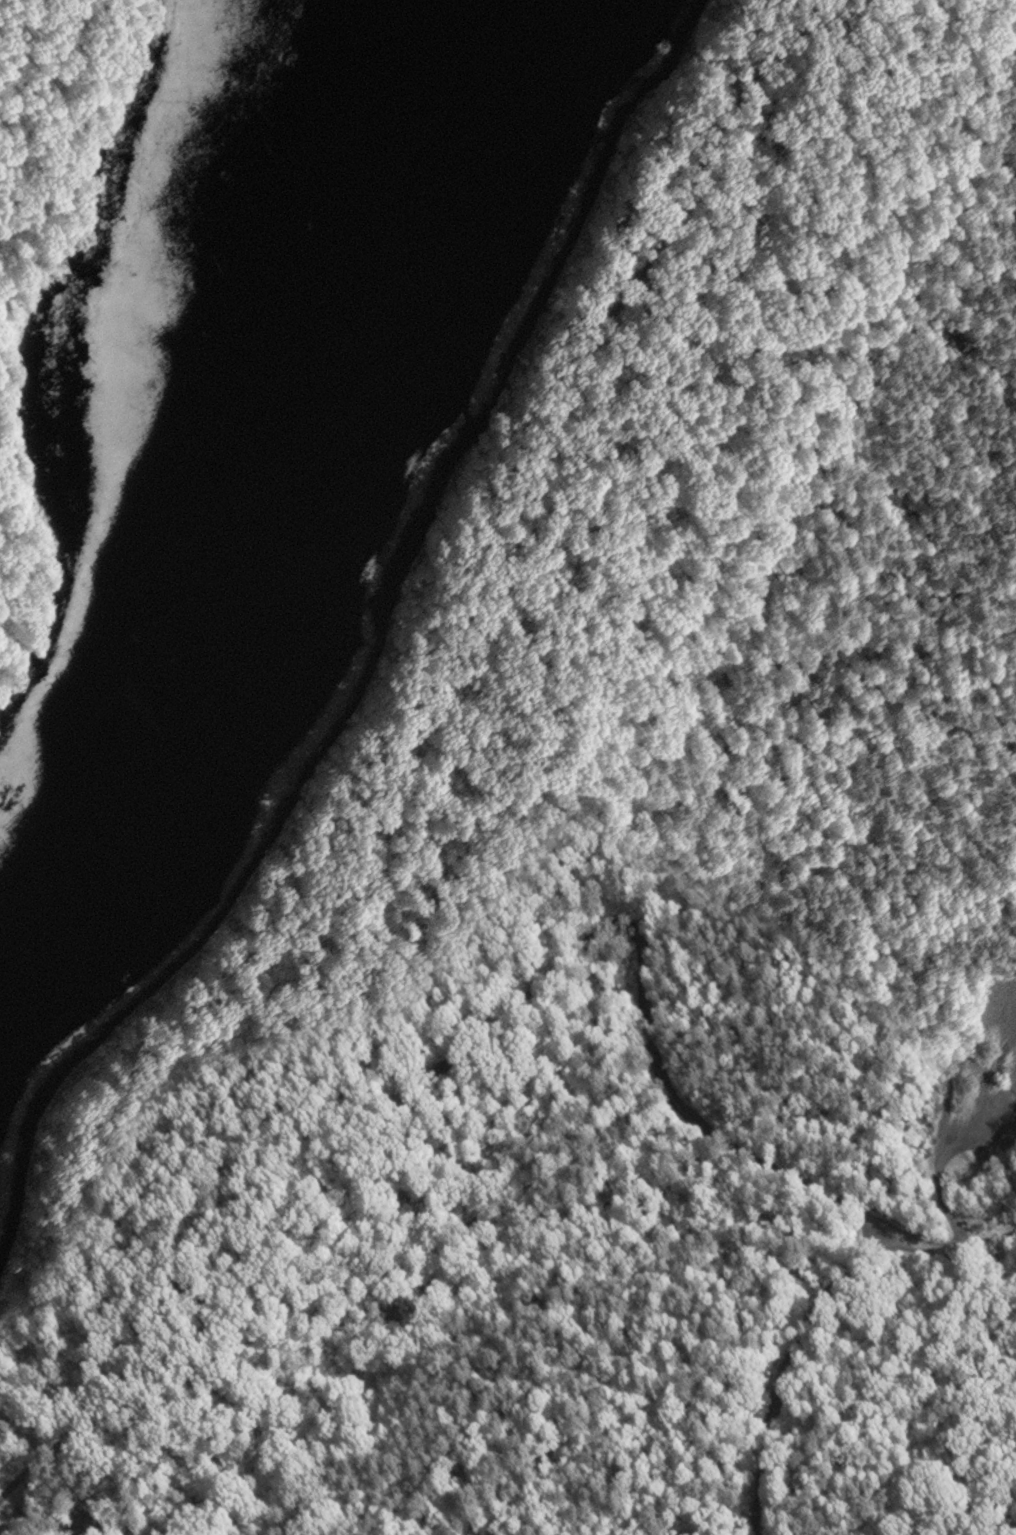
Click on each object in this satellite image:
road: (375, 899)
road: (955, 1254)
road: (785, 1365)

